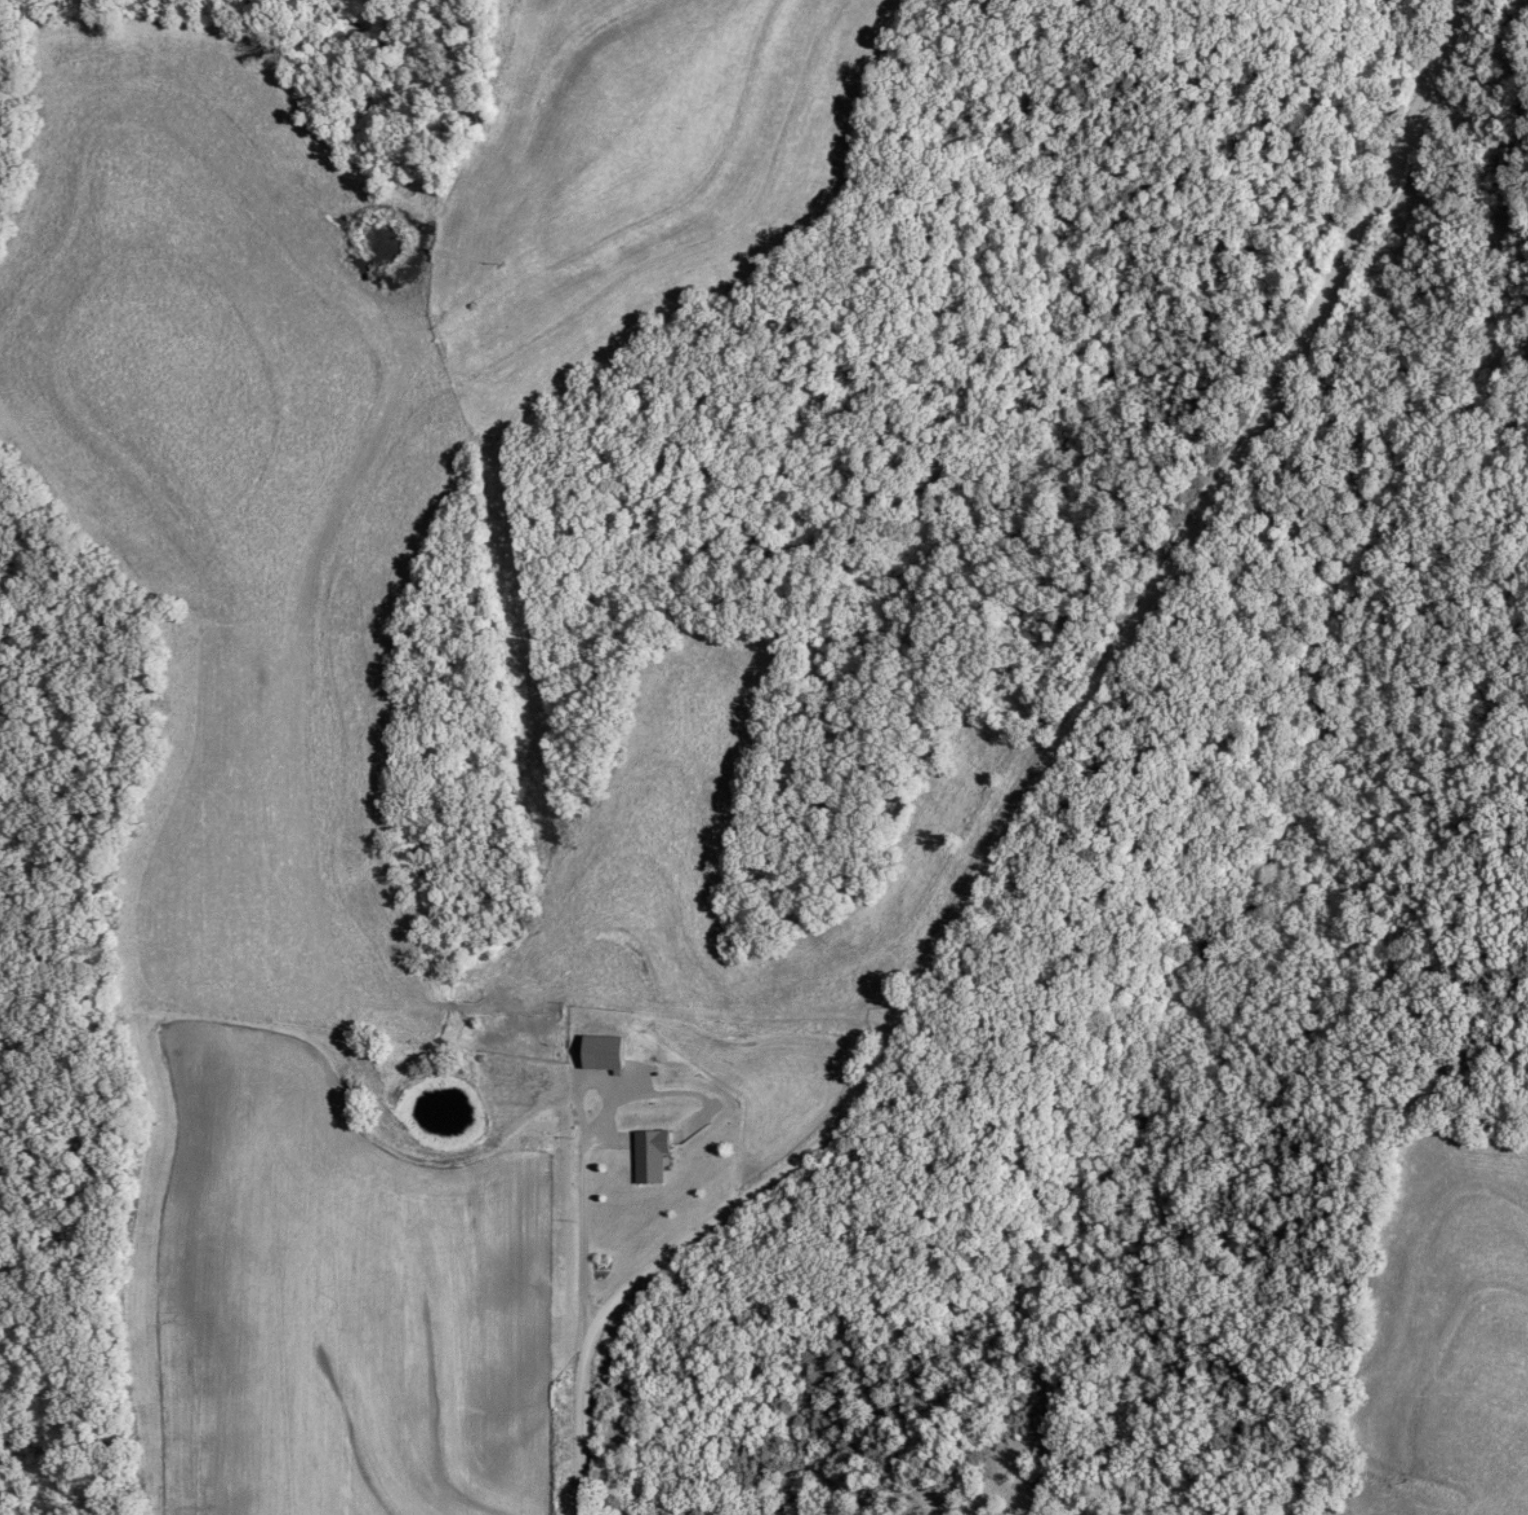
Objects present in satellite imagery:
road: (1031, 782)
building: (655, 1155)
road: (579, 1170)

